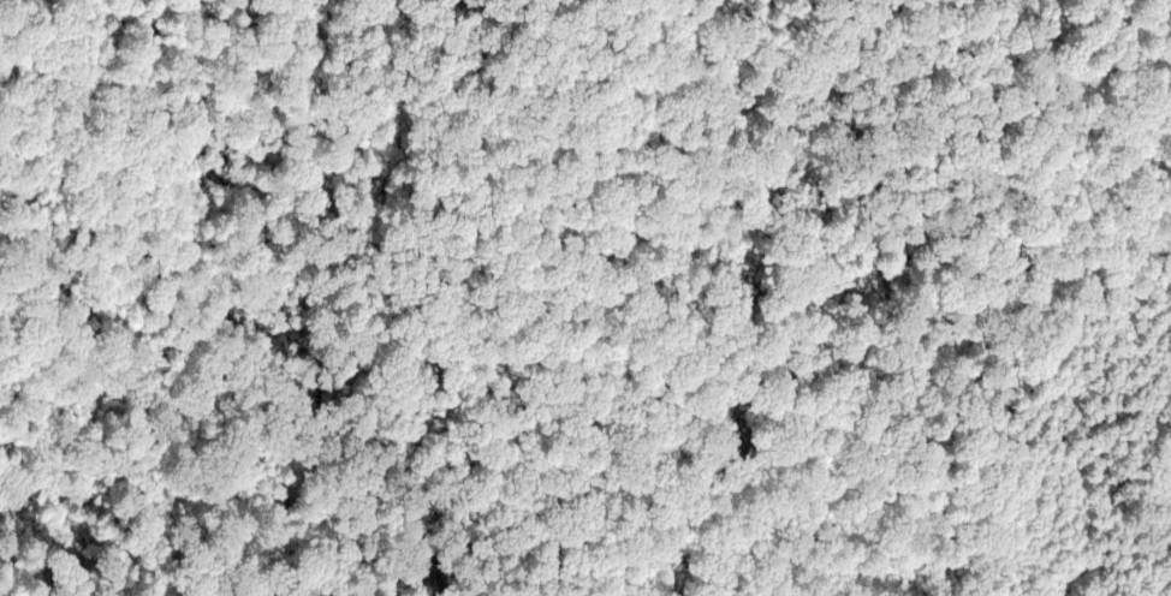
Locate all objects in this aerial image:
road: (1076, 467)

